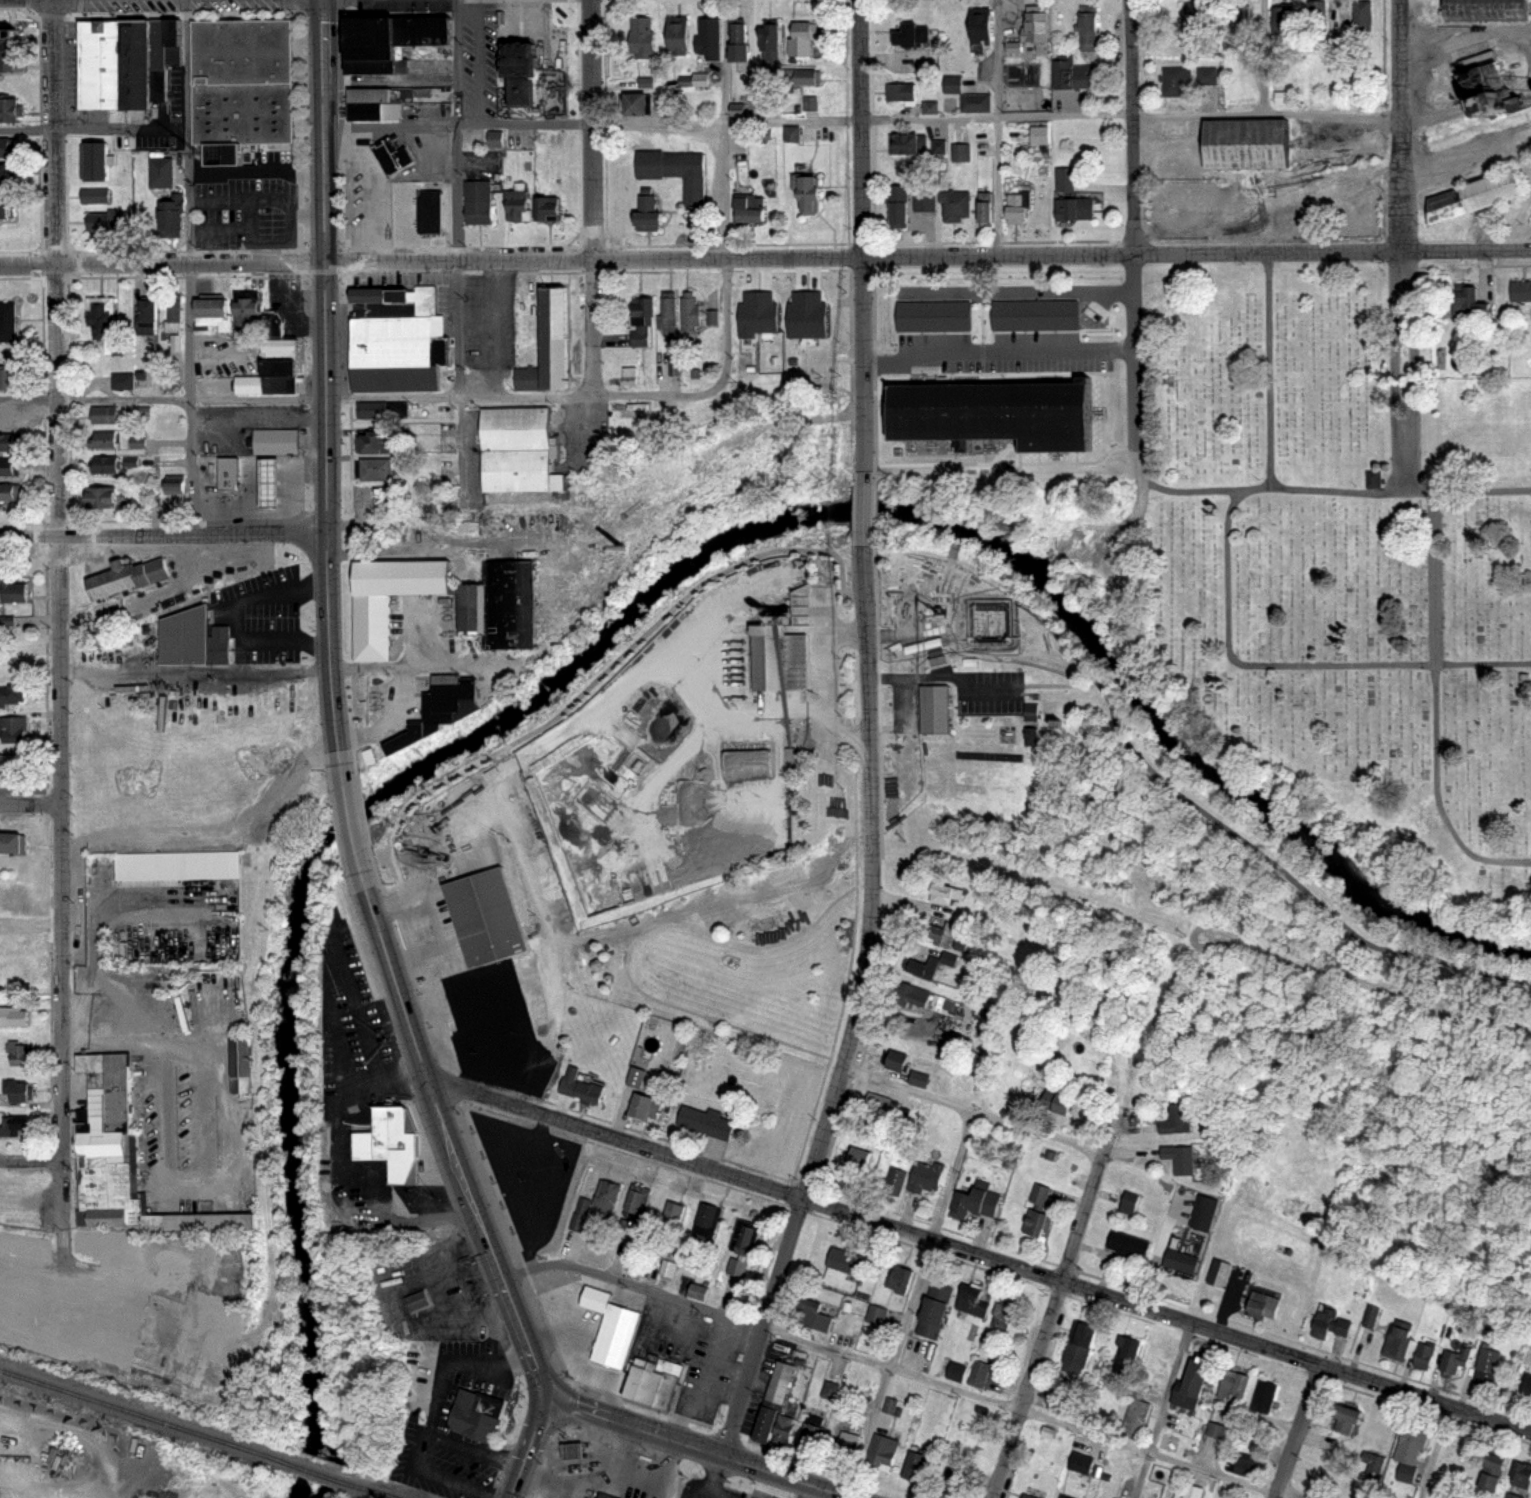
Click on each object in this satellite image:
building: (1481, 10)
building: (1195, 15)
building: (1364, 18)
building: (1318, 19)
building: (1283, 21)
building: (419, 23)
building: (982, 25)
building: (1037, 26)
building: (1247, 26)
building: (371, 29)
building: (1092, 32)
building: (6, 34)
building: (915, 36)
building: (679, 37)
building: (644, 38)
building: (709, 39)
building: (806, 43)
building: (743, 44)
building: (774, 44)
building: (163, 47)
building: (520, 49)
building: (135, 56)
building: (100, 57)
road: (1264, 58)
building: (371, 61)
building: (1064, 75)
building: (1203, 75)
building: (810, 78)
building: (1084, 78)
building: (519, 80)
building: (240, 82)
building: (368, 83)
building: (1176, 83)
parking lot: (175, 88)
building: (1473, 92)
building: (902, 94)
building: (807, 102)
building: (974, 104)
building: (374, 105)
building: (771, 105)
building: (640, 106)
building: (927, 107)
building: (11, 111)
road: (1265, 117)
road: (726, 123)
road: (1131, 126)
road: (995, 127)
road: (25, 128)
road: (455, 130)
road: (184, 132)
building: (1035, 135)
building: (794, 136)
building: (492, 138)
building: (909, 145)
building: (6, 148)
building: (391, 149)
building: (935, 149)
building: (1244, 149)
building: (957, 152)
building: (96, 164)
building: (676, 165)
building: (163, 175)
building: (5, 176)
road: (368, 193)
building: (810, 195)
building: (97, 197)
building: (1073, 197)
parking lot: (246, 198)
building: (1471, 198)
building: (926, 200)
building: (480, 202)
building: (646, 203)
building: (1019, 206)
building: (430, 207)
building: (901, 207)
building: (958, 208)
building: (6, 209)
building: (519, 209)
building: (548, 209)
building: (750, 209)
building: (981, 209)
road: (592, 212)
building: (168, 220)
building: (398, 221)
building: (109, 223)
road: (860, 244)
road: (1401, 247)
road: (724, 255)
road: (928, 255)
road: (163, 264)
parking lot: (400, 271)
road: (1075, 288)
building: (1519, 290)
building: (1474, 304)
building: (646, 308)
building: (173, 311)
building: (212, 314)
building: (249, 314)
parking lot: (488, 316)
building: (670, 316)
building: (693, 316)
building: (710, 317)
building: (933, 317)
building: (1033, 317)
building: (149, 319)
building: (104, 322)
building: (7, 323)
building: (268, 323)
parking lot: (339, 328)
road: (456, 328)
building: (553, 331)
building: (396, 334)
building: (641, 337)
road: (997, 351)
building: (280, 364)
road: (1269, 371)
building: (529, 372)
building: (8, 379)
building: (125, 381)
road: (1135, 384)
road: (326, 385)
road: (258, 396)
road: (460, 396)
road: (122, 398)
road: (189, 398)
building: (379, 409)
building: (998, 409)
building: (143, 411)
building: (106, 416)
building: (6, 422)
building: (275, 425)
building: (104, 441)
building: (271, 441)
building: (376, 441)
building: (139, 443)
building: (5, 445)
building: (518, 445)
road: (464, 448)
building: (133, 463)
building: (106, 465)
building: (228, 466)
building: (378, 469)
building: (6, 471)
gas station: (268, 475)
building: (176, 478)
building: (1370, 479)
building: (263, 483)
road: (1331, 490)
building: (377, 496)
building: (6, 497)
building: (103, 499)
road: (865, 509)
road: (163, 532)
park: (1340, 558)
building: (127, 569)
building: (798, 572)
building: (15, 588)
building: (508, 595)
building: (471, 600)
river: (643, 600)
parking lot: (267, 617)
building: (370, 619)
road: (237, 621)
road: (59, 630)
building: (186, 630)
building: (222, 644)
road: (239, 648)
building: (934, 652)
building: (773, 660)
road: (1290, 665)
road: (195, 669)
road: (593, 676)
building: (14, 696)
building: (934, 701)
building: (438, 703)
road: (1435, 710)
building: (1027, 712)
building: (12, 725)
building: (1028, 735)
building: (12, 762)
road: (1183, 792)
road: (30, 796)
road: (30, 804)
road: (350, 809)
road: (217, 820)
building: (10, 845)
building: (176, 860)
building: (947, 894)
building: (9, 895)
building: (485, 910)
building: (945, 934)
building: (8, 935)
road: (632, 941)
building: (116, 950)
park: (735, 953)
building: (925, 966)
building: (915, 995)
road: (860, 1001)
building: (12, 1017)
building: (16, 1054)
building: (239, 1059)
building: (898, 1060)
building: (632, 1077)
building: (921, 1078)
building: (581, 1087)
building: (14, 1094)
building: (1061, 1100)
building: (879, 1105)
building: (645, 1107)
road: (973, 1111)
building: (1181, 1119)
building: (708, 1121)
road: (449, 1126)
building: (14, 1127)
road: (198, 1130)
building: (391, 1136)
building: (103, 1153)
road: (32, 1156)
building: (861, 1157)
building: (1182, 1158)
building: (928, 1175)
building: (895, 1181)
building: (610, 1194)
building: (639, 1202)
building: (1127, 1202)
building: (978, 1203)
building: (1039, 1210)
building: (677, 1212)
building: (1206, 1212)
building: (582, 1214)
building: (708, 1223)
building: (748, 1238)
building: (1130, 1245)
road: (980, 1256)
building: (849, 1261)
building: (1183, 1261)
building: (1220, 1273)
building: (901, 1281)
building: (696, 1291)
building: (418, 1299)
building: (972, 1302)
road: (912, 1304)
building: (1265, 1305)
building: (936, 1311)
building: (815, 1315)
building: (879, 1315)
building: (1007, 1316)
building: (1369, 1316)
building: (117, 1321)
building: (1329, 1321)
road: (1047, 1328)
building: (613, 1329)
building: (1396, 1342)
building: (1080, 1347)
building: (1132, 1347)
building: (1422, 1355)
road: (453, 1359)
building: (1453, 1359)
building: (1486, 1366)
road: (897, 1369)
building: (953, 1371)
building: (989, 1376)
building: (782, 1381)
building: (1237, 1384)
building: (656, 1385)
building: (1194, 1385)
building: (1525, 1385)
building: (834, 1391)
building: (1267, 1396)
traffic signals: (549, 1402)
building: (469, 1411)
road: (1163, 1411)
railway: (136, 1412)
building: (1138, 1415)
building: (1343, 1418)
building: (768, 1425)
building: (1218, 1429)
building: (784, 1431)
road: (1297, 1432)
building: (814, 1435)
road: (414, 1438)
building: (850, 1443)
building: (1409, 1444)
road: (703, 1447)
building: (568, 1449)
road: (530, 1450)
building: (884, 1450)
road: (1436, 1452)
building: (1372, 1462)
building: (1083, 1463)
building: (915, 1466)
building: (1251, 1469)
railway: (318, 1470)
building: (1405, 1472)
building: (1490, 1473)
building: (1520, 1475)
building: (952, 1482)
road: (2, 1485)
road: (802, 1490)
building: (1196, 1491)
railway: (383, 1492)
building: (604, 1495)
building: (1511, 1495)
building: (1064, 1496)
building: (1030, 1497)

